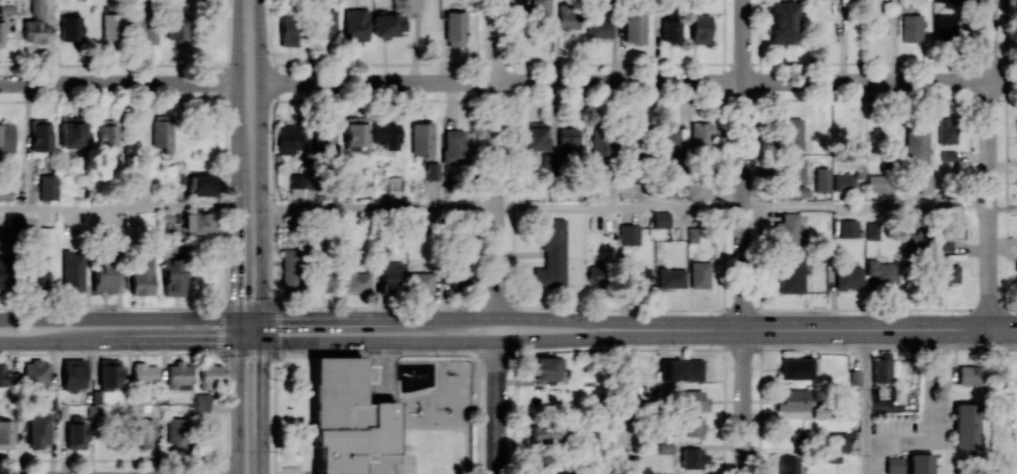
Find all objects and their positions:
building: (942, 0)
building: (399, 5)
building: (540, 9)
building: (568, 16)
building: (142, 21)
building: (35, 22)
building: (782, 22)
building: (324, 24)
building: (386, 24)
building: (110, 26)
building: (175, 26)
building: (354, 26)
building: (598, 27)
building: (633, 27)
building: (71, 28)
building: (454, 28)
building: (700, 28)
building: (911, 28)
building: (945, 28)
building: (670, 30)
building: (288, 31)
building: (1, 33)
road: (227, 33)
road: (894, 41)
road: (112, 66)
road: (231, 66)
road: (502, 82)
road: (880, 82)
road: (118, 83)
building: (946, 130)
building: (107, 132)
building: (71, 133)
building: (161, 133)
building: (355, 133)
building: (792, 133)
building: (41, 135)
building: (385, 135)
building: (701, 135)
building: (6, 136)
building: (534, 136)
building: (323, 138)
building: (421, 138)
building: (287, 139)
building: (568, 139)
building: (668, 140)
building: (600, 142)
building: (916, 144)
building: (454, 147)
building: (948, 155)
road: (237, 158)
road: (262, 158)
road: (497, 159)
road: (989, 164)
road: (743, 165)
building: (432, 171)
building: (794, 176)
building: (821, 179)
building: (398, 180)
building: (295, 181)
building: (198, 182)
building: (844, 182)
building: (879, 183)
building: (925, 184)
building: (48, 187)
building: (696, 190)
building: (626, 191)
building: (5, 194)
road: (379, 206)
road: (620, 206)
road: (866, 206)
road: (118, 208)
building: (661, 219)
building: (198, 222)
building: (848, 228)
building: (872, 230)
building: (786, 231)
building: (628, 234)
building: (692, 234)
building: (45, 235)
building: (913, 242)
building: (943, 244)
building: (552, 255)
building: (1015, 265)
building: (289, 269)
building: (72, 270)
building: (882, 271)
building: (4, 272)
building: (947, 273)
building: (596, 274)
building: (698, 274)
building: (105, 275)
building: (420, 275)
building: (790, 275)
building: (142, 276)
building: (391, 276)
building: (455, 276)
building: (173, 277)
building: (636, 277)
building: (848, 277)
building: (670, 278)
building: (323, 279)
building: (358, 282)
road: (118, 318)
traffic signals: (237, 318)
road: (249, 318)
traffic signals: (262, 318)
road: (502, 318)
road: (880, 330)
road: (262, 331)
road: (502, 341)
road: (131, 343)
traffic signals: (237, 343)
traffic signals: (262, 344)
road: (880, 346)
park: (1008, 367)
building: (546, 368)
building: (796, 368)
building: (881, 368)
building: (680, 370)
building: (109, 372)
building: (36, 373)
building: (144, 373)
building: (73, 374)
building: (969, 375)
building: (3, 376)
building: (179, 376)
building: (210, 376)
building: (855, 376)
road: (237, 396)
building: (691, 400)
building: (792, 400)
road: (867, 401)
building: (202, 402)
road: (743, 402)
road: (618, 406)
road: (497, 408)
road: (262, 409)
building: (93, 412)
road: (928, 413)
building: (335, 416)
building: (692, 426)
building: (965, 426)
building: (39, 430)
building: (75, 431)
building: (143, 432)
building: (175, 432)
building: (545, 433)
building: (6, 434)
building: (796, 437)
building: (837, 441)
building: (692, 458)
building: (920, 460)
building: (788, 465)
building: (894, 465)
building: (921, 470)
building: (546, 471)

